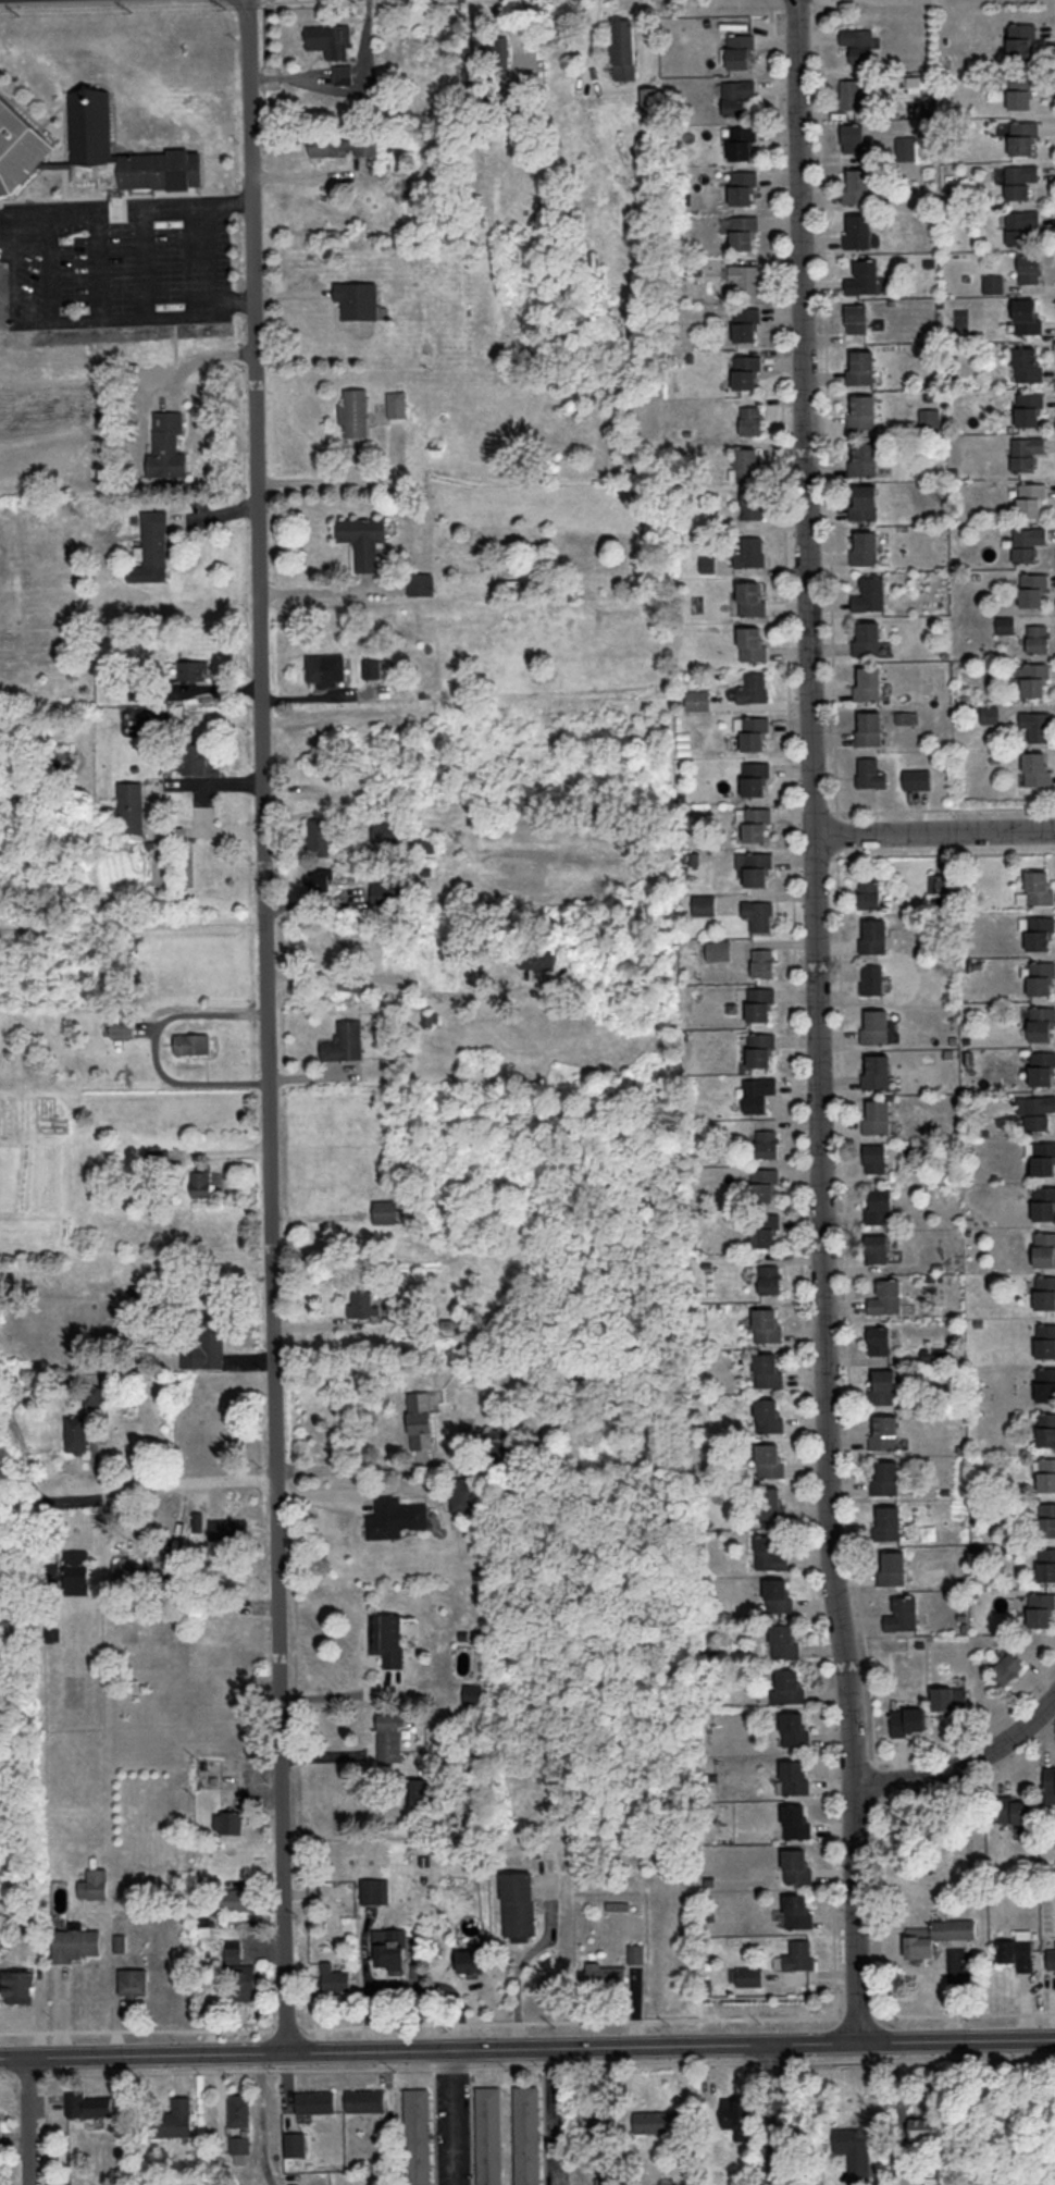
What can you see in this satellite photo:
road: (795, 8)
building: (330, 37)
building: (1020, 38)
building: (858, 44)
building: (738, 48)
building: (623, 49)
building: (499, 50)
building: (343, 72)
road: (291, 74)
road: (620, 85)
building: (1021, 91)
building: (853, 94)
building: (735, 96)
building: (649, 97)
building: (1022, 137)
building: (854, 138)
building: (741, 140)
building: (343, 145)
building: (18, 147)
building: (906, 147)
building: (121, 155)
building: (1019, 180)
building: (857, 185)
building: (742, 186)
road: (149, 201)
road: (42, 202)
road: (101, 202)
road: (186, 222)
building: (1021, 225)
building: (858, 230)
building: (743, 231)
building: (1030, 268)
building: (864, 276)
building: (745, 277)
building: (993, 283)
road: (295, 292)
building: (358, 298)
road: (128, 311)
building: (1027, 314)
building: (856, 317)
building: (745, 322)
building: (1028, 362)
building: (861, 366)
building: (745, 370)
building: (396, 403)
road: (827, 406)
building: (1028, 407)
building: (862, 410)
building: (355, 411)
building: (929, 417)
building: (750, 419)
building: (167, 445)
building: (1026, 452)
building: (864, 457)
building: (746, 464)
road: (327, 479)
building: (1030, 497)
building: (864, 501)
building: (753, 504)
building: (154, 536)
building: (363, 538)
building: (1027, 541)
building: (865, 546)
building: (750, 552)
building: (707, 564)
building: (420, 583)
building: (1032, 588)
building: (870, 593)
building: (750, 597)
building: (1005, 624)
building: (868, 635)
building: (1037, 638)
building: (752, 642)
building: (325, 668)
building: (371, 668)
building: (194, 669)
building: (1034, 677)
building: (869, 681)
building: (753, 687)
road: (206, 689)
road: (324, 695)
building: (697, 700)
building: (907, 716)
building: (1035, 724)
building: (869, 726)
building: (754, 731)
building: (198, 758)
building: (1037, 767)
building: (870, 773)
building: (755, 776)
building: (916, 778)
building: (131, 805)
road: (203, 806)
road: (942, 808)
road: (821, 811)
building: (756, 822)
building: (387, 830)
road: (835, 830)
road: (933, 830)
building: (319, 836)
road: (942, 853)
road: (821, 855)
building: (757, 867)
building: (321, 879)
building: (938, 882)
building: (1038, 888)
building: (868, 892)
building: (382, 893)
building: (703, 904)
building: (758, 913)
building: (1039, 930)
building: (873, 935)
building: (718, 950)
building: (537, 956)
building: (762, 961)
building: (1040, 976)
building: (871, 978)
building: (758, 1002)
road: (795, 1009)
building: (430, 1017)
road: (817, 1020)
building: (1041, 1022)
road: (268, 1025)
building: (876, 1025)
building: (123, 1028)
building: (345, 1040)
building: (193, 1041)
building: (760, 1048)
road: (153, 1050)
building: (1042, 1066)
building: (877, 1071)
building: (757, 1092)
building: (1035, 1110)
building: (877, 1115)
building: (766, 1141)
building: (874, 1157)
building: (1043, 1157)
building: (202, 1178)
building: (762, 1184)
building: (1044, 1201)
building: (879, 1206)
building: (386, 1211)
building: (764, 1229)
building: (1044, 1246)
building: (877, 1247)
building: (768, 1277)
building: (1044, 1291)
building: (885, 1296)
building: (362, 1305)
road: (846, 1307)
building: (766, 1324)
building: (1045, 1338)
building: (878, 1340)
building: (206, 1346)
building: (934, 1354)
building: (767, 1370)
building: (1045, 1383)
building: (883, 1386)
building: (94, 1395)
building: (768, 1415)
building: (420, 1420)
building: (466, 1422)
building: (1046, 1429)
building: (884, 1431)
building: (75, 1432)
building: (769, 1460)
road: (358, 1467)
building: (1046, 1473)
building: (885, 1477)
road: (137, 1482)
building: (461, 1494)
building: (770, 1504)
building: (394, 1517)
building: (1046, 1518)
building: (888, 1522)
building: (767, 1552)
building: (1046, 1564)
building: (893, 1567)
building: (125, 1570)
building: (70, 1571)
building: (778, 1594)
building: (1041, 1608)
building: (903, 1613)
building: (387, 1637)
building: (784, 1640)
building: (1007, 1668)
building: (790, 1686)
building: (471, 1690)
road: (347, 1694)
building: (949, 1698)
building: (908, 1719)
building: (794, 1728)
road: (975, 1730)
building: (390, 1735)
road: (330, 1754)
road: (862, 1761)
road: (965, 1763)
road: (877, 1774)
building: (794, 1776)
building: (1050, 1780)
road: (971, 1786)
building: (418, 1790)
building: (1015, 1809)
building: (228, 1820)
building: (796, 1820)
building: (796, 1865)
building: (94, 1884)
building: (375, 1890)
building: (241, 1898)
building: (518, 1905)
building: (618, 1905)
building: (798, 1911)
building: (936, 1933)
building: (75, 1942)
building: (389, 1948)
building: (1018, 1950)
building: (636, 1953)
building: (799, 1954)
building: (1051, 1958)
building: (471, 1960)
building: (241, 1972)
building: (607, 1973)
building: (749, 1975)
building: (335, 1978)
building: (133, 1983)
building: (18, 1985)
road: (61, 2007)
road: (858, 2015)
road: (965, 2015)
road: (571, 2020)
road: (135, 2028)
road: (287, 2029)
road: (526, 2045)
road: (895, 2045)
road: (895, 2056)
road: (922, 2058)
road: (774, 2060)
road: (668, 2061)
road: (559, 2064)
road: (507, 2065)
road: (452, 2066)
road: (239, 2069)
road: (29, 2075)
road: (8, 2077)
building: (315, 2100)
building: (365, 2100)
building: (89, 2104)
building: (239, 2110)
road: (773, 2113)
road: (566, 2114)
road: (449, 2116)
building: (737, 2116)
road: (34, 2118)
building: (176, 2118)
road: (262, 2119)
building: (605, 2121)
building: (658, 2121)
road: (434, 2125)
parking lot: (452, 2125)
building: (923, 2128)
road: (47, 2130)
road: (471, 2130)
building: (488, 2135)
building: (526, 2135)
building: (417, 2136)
building: (295, 2143)
building: (239, 2144)
building: (856, 2151)
building: (609, 2181)
building: (936, 2181)

